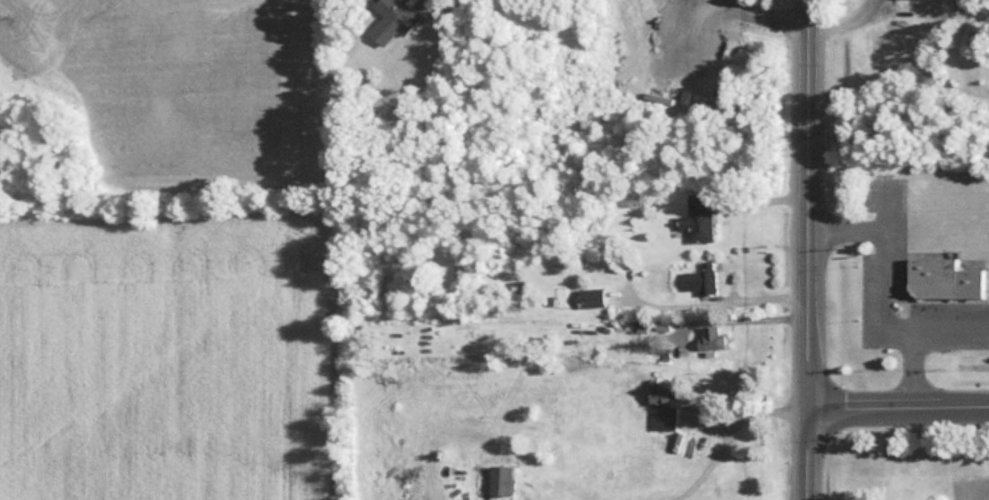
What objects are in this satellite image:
road: (794, 7)
building: (698, 219)
road: (810, 250)
building: (940, 279)
building: (697, 281)
road: (877, 295)
building: (588, 298)
road: (749, 299)
road: (754, 317)
building: (708, 339)
road: (898, 400)
building: (658, 406)
building: (498, 481)

